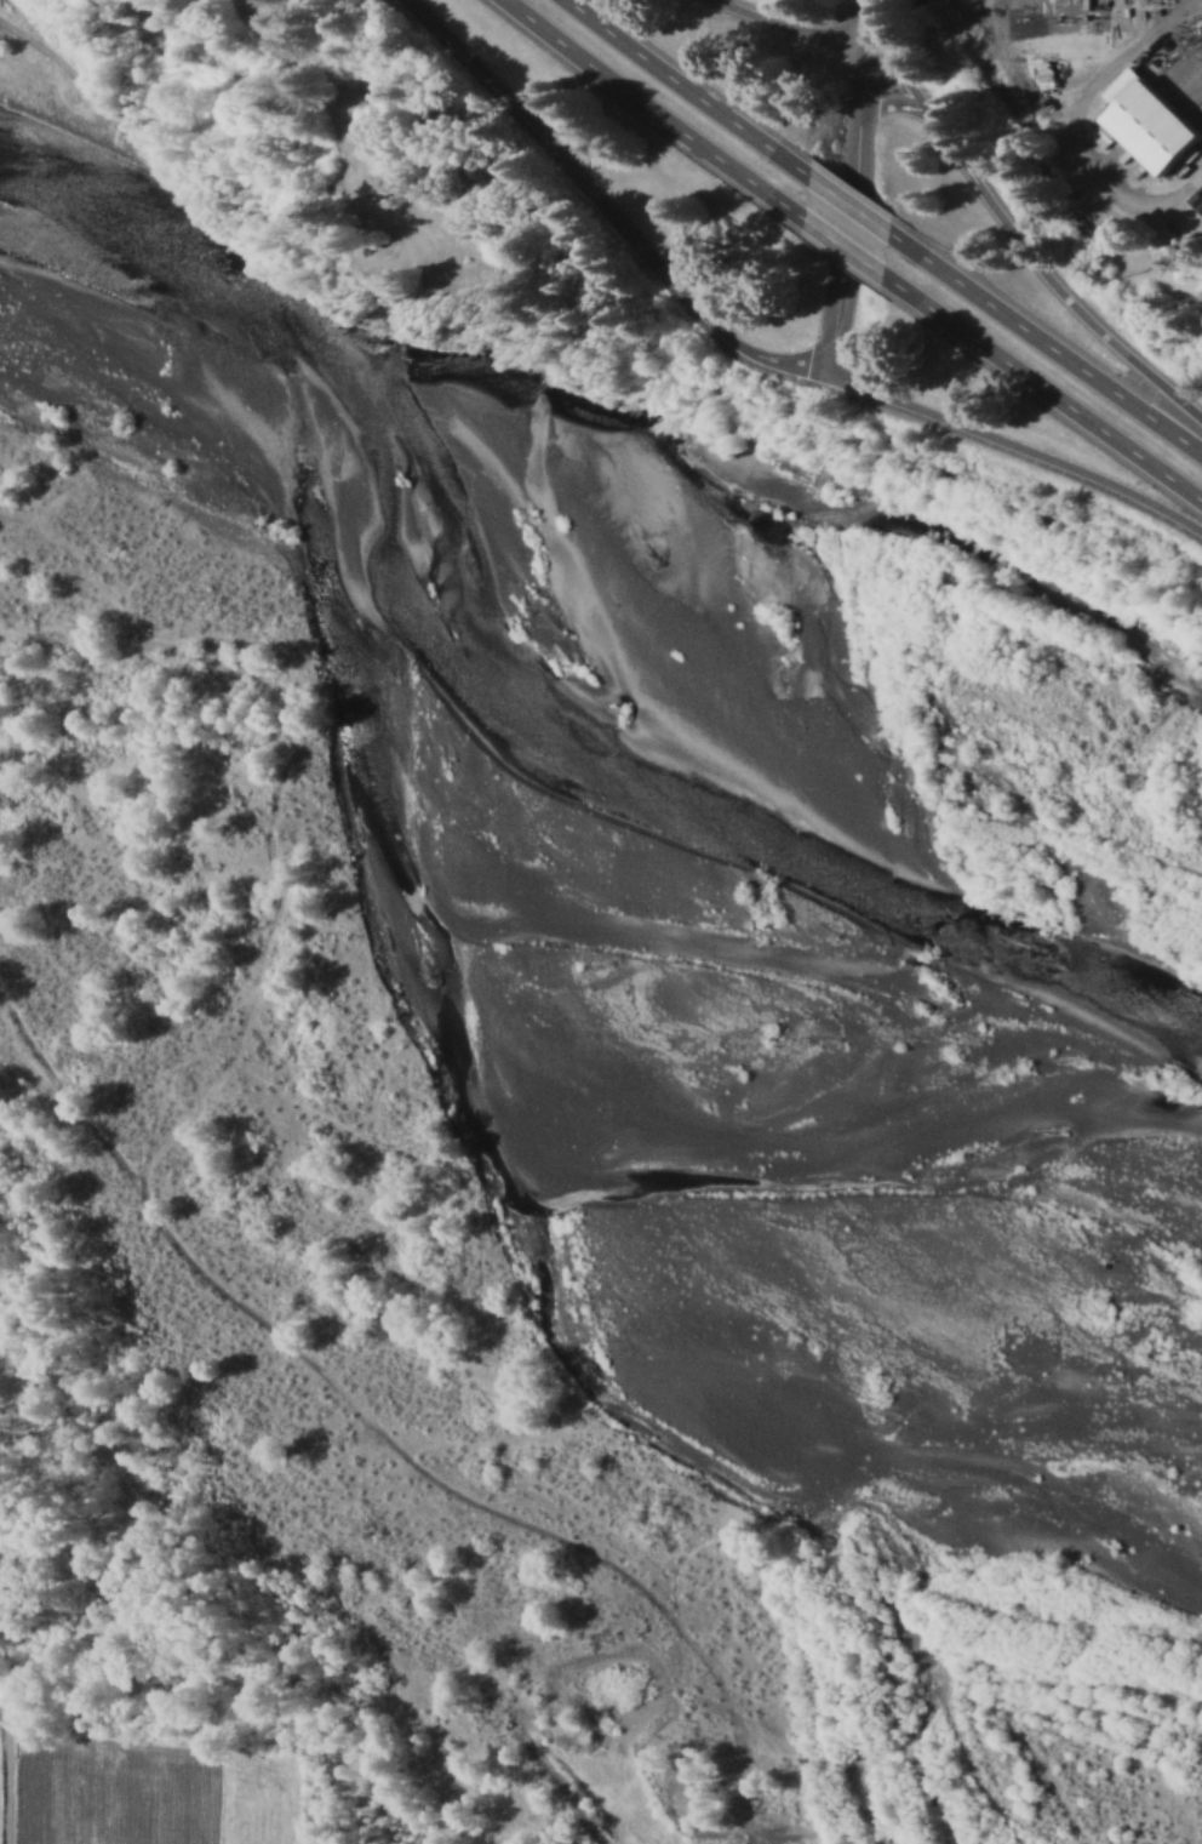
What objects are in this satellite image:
road: (788, 38)
road: (686, 90)
road: (898, 105)
road: (656, 113)
building: (1146, 120)
road: (853, 189)
road: (848, 206)
road: (608, 210)
road: (1017, 238)
road: (843, 249)
road: (1044, 344)
road: (1041, 388)
road: (1018, 446)
river: (213, 710)
river: (819, 1106)
river: (1066, 1506)
road: (11, 1766)

